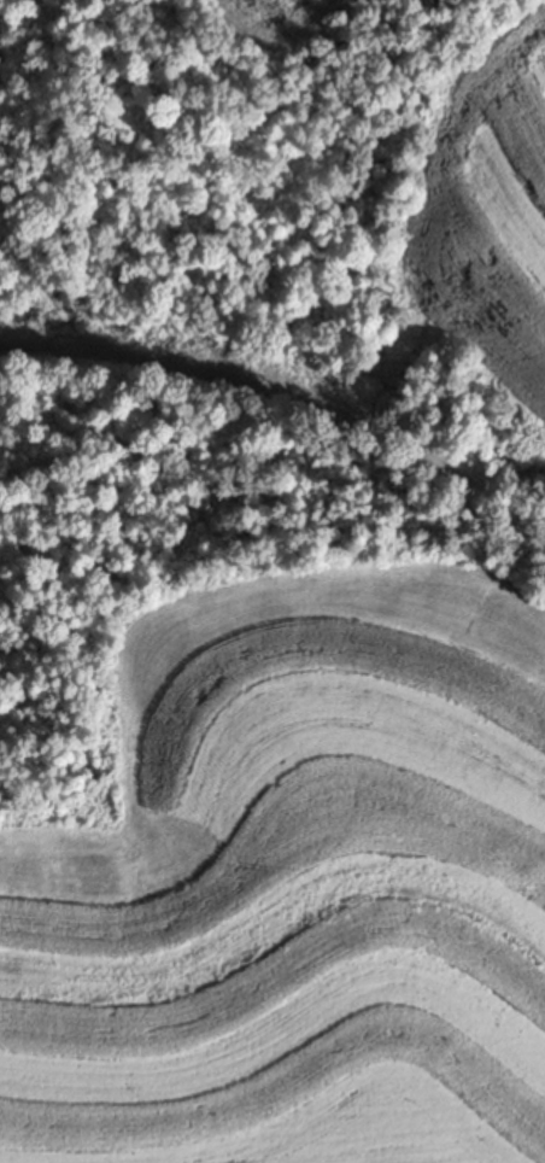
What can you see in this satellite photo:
road: (282, 455)

